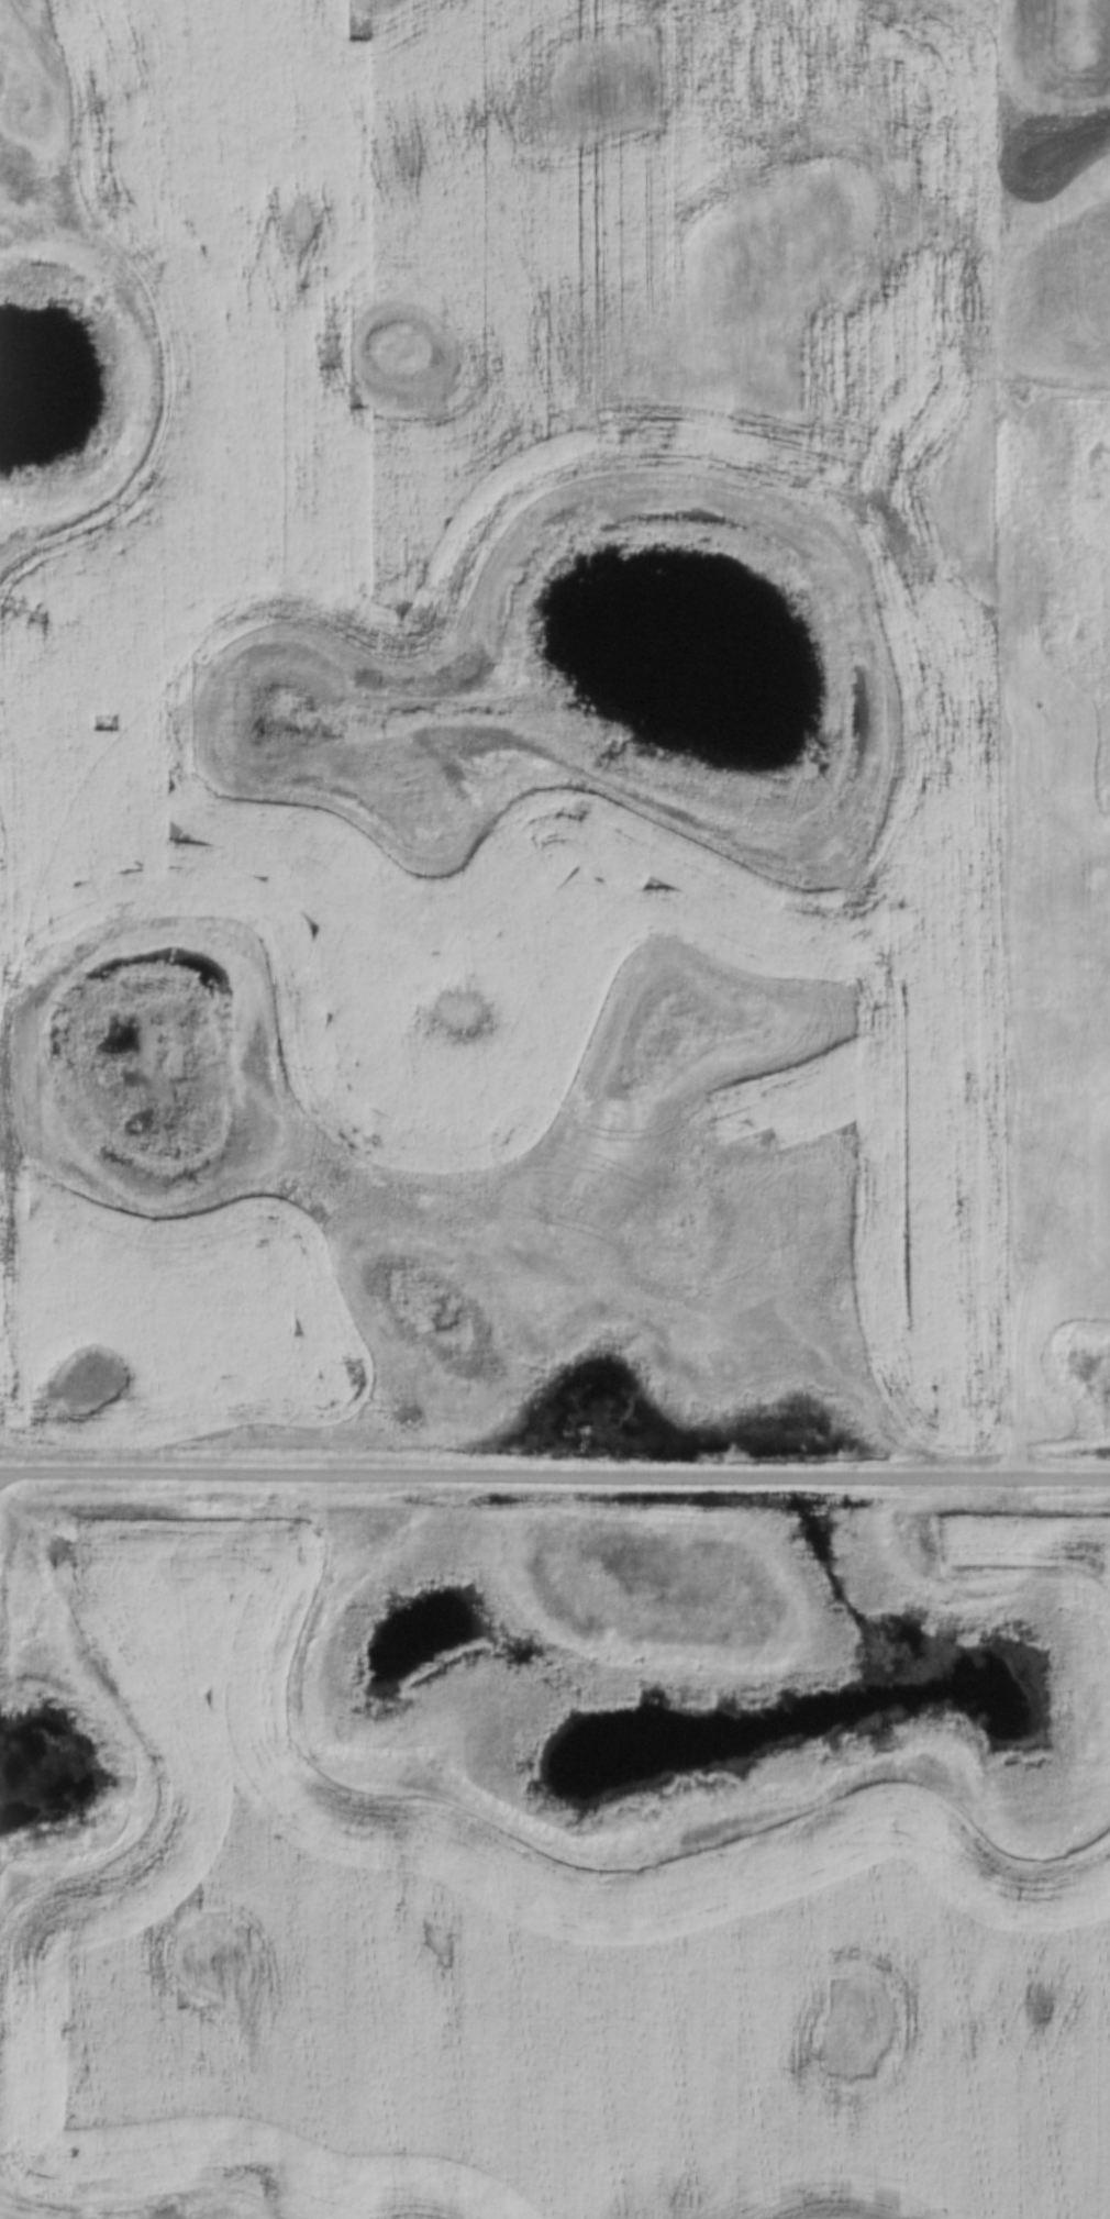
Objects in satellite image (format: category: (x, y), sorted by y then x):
road: (555, 1478)

